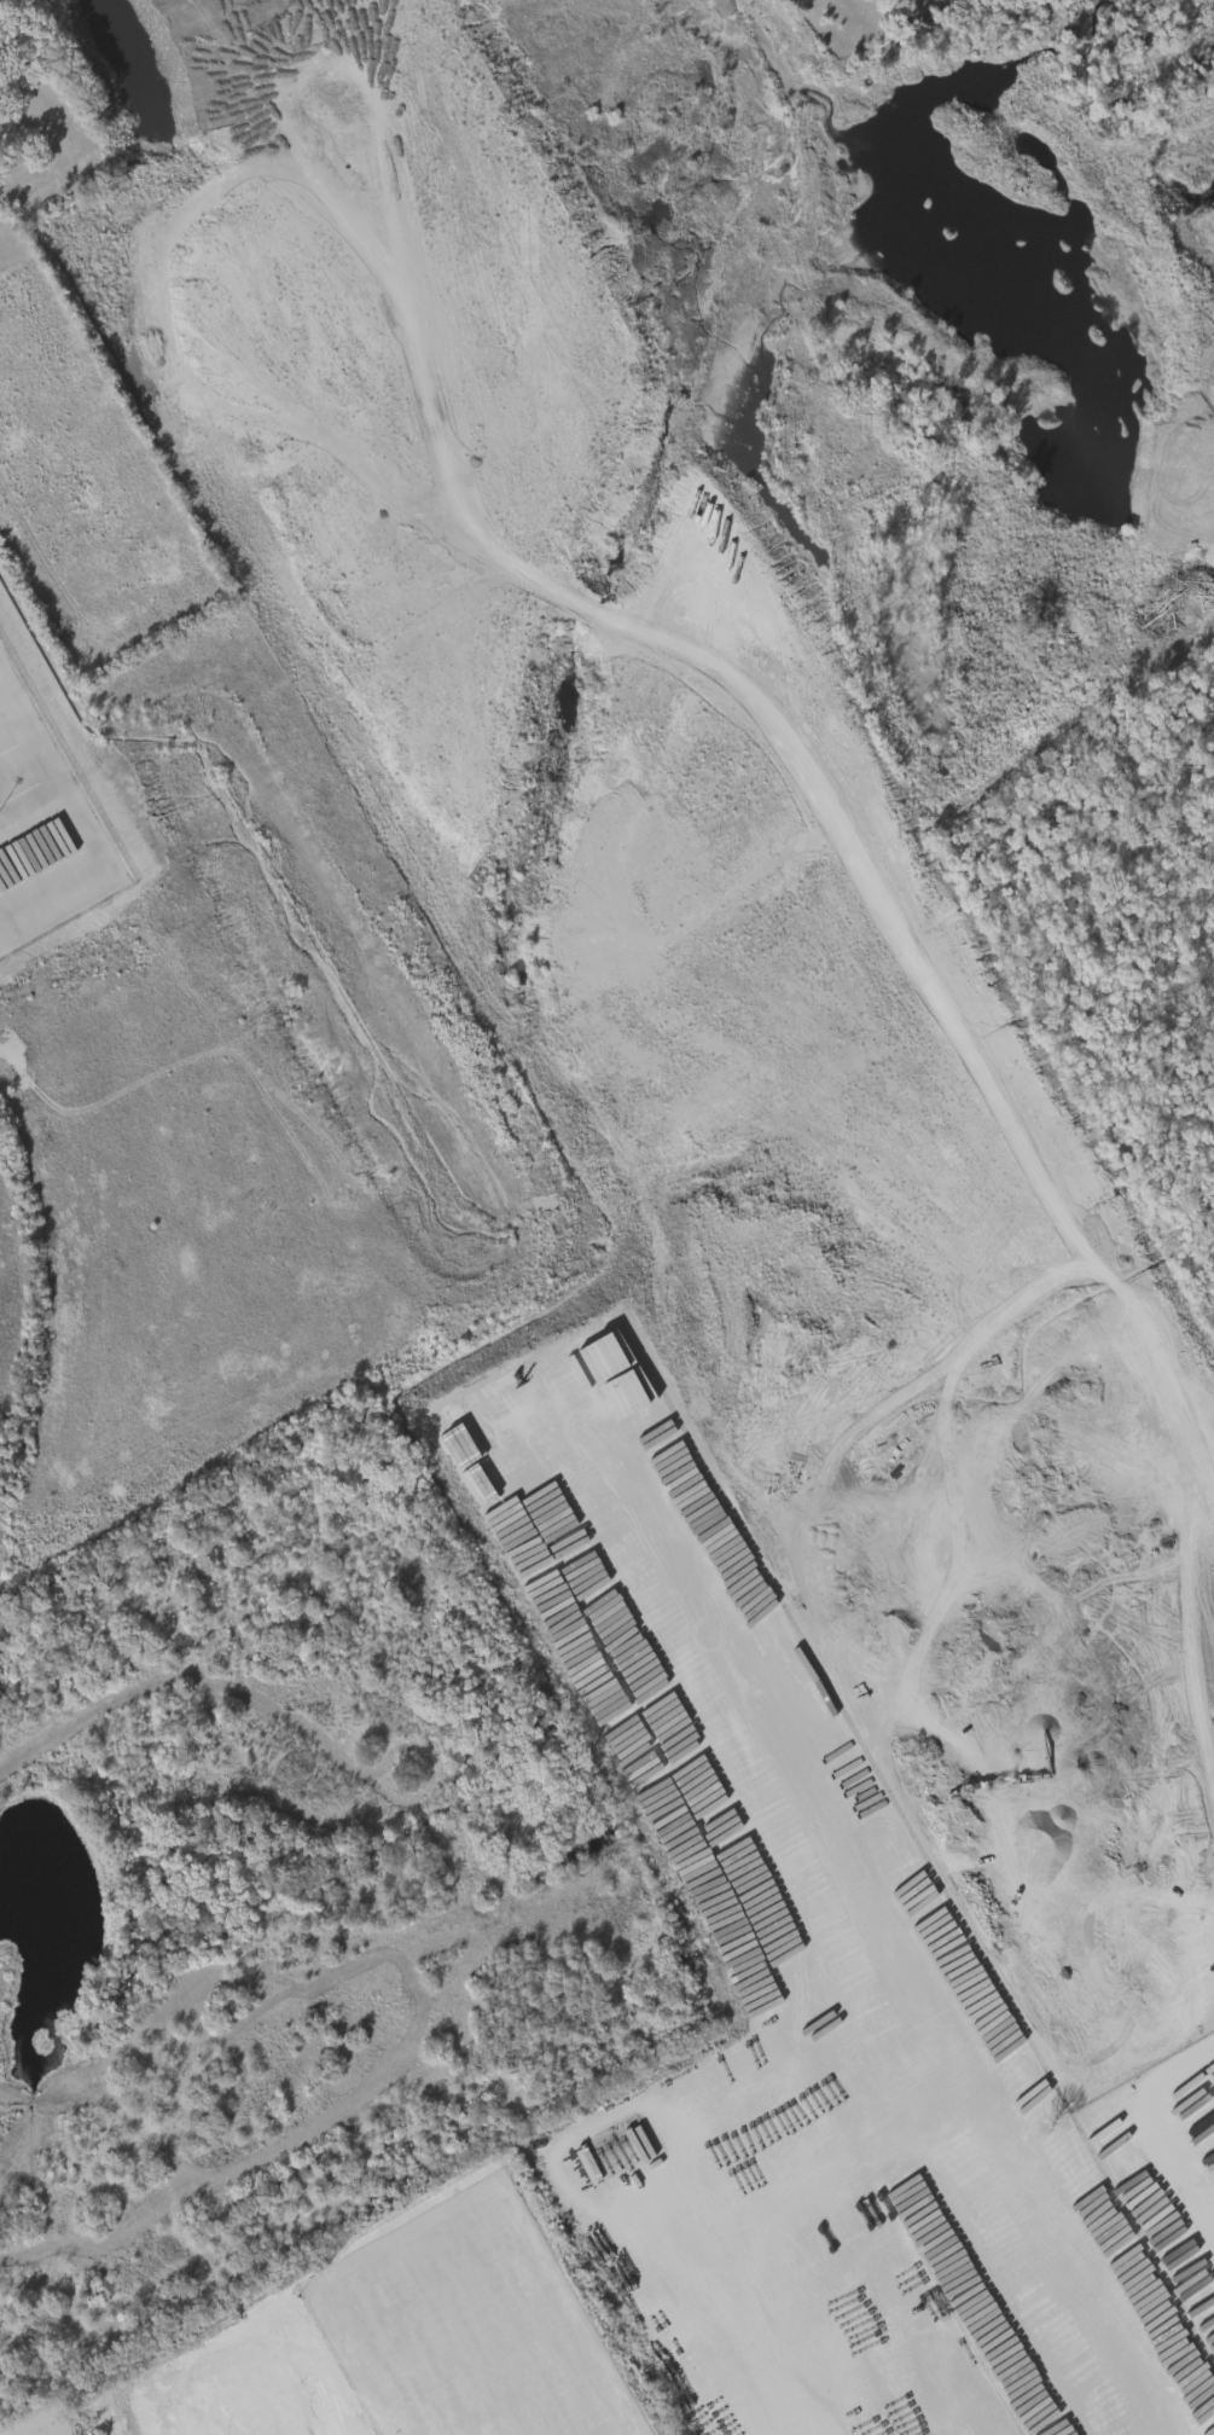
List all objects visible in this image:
road: (1180, 135)
road: (60, 831)

